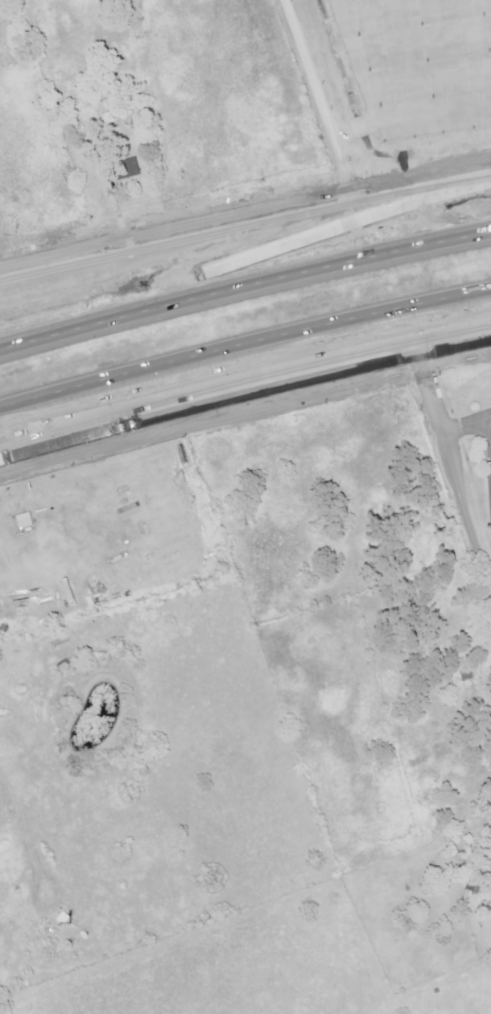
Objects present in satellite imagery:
road: (315, 97)
road: (409, 118)
building: (129, 169)
road: (245, 218)
road: (257, 257)
road: (244, 286)
road: (244, 343)
road: (455, 347)
road: (209, 406)
road: (107, 415)
road: (468, 425)
road: (489, 426)
road: (454, 470)
building: (26, 520)
road: (16, 567)

